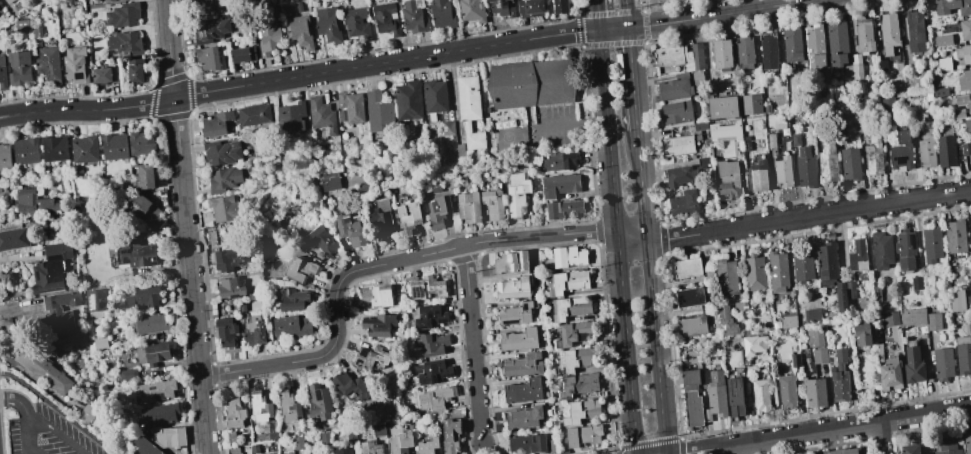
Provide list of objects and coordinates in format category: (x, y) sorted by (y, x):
building: (108, 0)
building: (122, 0)
building: (486, 0)
building: (9, 1)
building: (210, 4)
rooftop solar panel: (511, 4)
building: (560, 6)
building: (952, 6)
building: (502, 7)
building: (530, 7)
rooftop solar panel: (497, 9)
building: (471, 10)
road: (626, 13)
building: (442, 14)
road: (597, 14)
building: (123, 15)
road: (718, 15)
building: (413, 16)
building: (386, 18)
building: (356, 23)
building: (328, 25)
traffic signals: (627, 28)
road: (612, 29)
building: (965, 29)
building: (210, 30)
traffic signals: (598, 30)
building: (915, 31)
building: (299, 32)
building: (888, 33)
building: (863, 34)
building: (268, 37)
building: (943, 41)
building: (125, 43)
building: (837, 43)
building: (791, 45)
building: (814, 46)
building: (768, 52)
building: (743, 53)
building: (242, 54)
building: (721, 54)
building: (963, 54)
building: (680, 57)
building: (207, 58)
building: (943, 64)
building: (48, 65)
building: (75, 65)
building: (882, 66)
building: (856, 67)
building: (19, 68)
building: (135, 71)
building: (2, 73)
building: (104, 75)
road: (299, 75)
road: (631, 78)
building: (697, 78)
building: (965, 80)
building: (533, 85)
building: (674, 88)
building: (939, 92)
building: (434, 98)
building: (408, 100)
building: (964, 101)
building: (750, 104)
building: (887, 104)
building: (349, 107)
building: (722, 107)
building: (468, 110)
building: (379, 112)
building: (675, 113)
building: (253, 114)
building: (958, 114)
building: (321, 115)
building: (291, 117)
building: (215, 123)
building: (700, 126)
building: (967, 126)
parking lot: (553, 127)
road: (569, 127)
building: (448, 129)
building: (725, 131)
building: (770, 140)
building: (795, 140)
building: (141, 143)
building: (746, 143)
building: (677, 145)
building: (114, 146)
building: (54, 148)
building: (927, 148)
building: (945, 148)
building: (84, 149)
building: (966, 149)
building: (26, 151)
building: (901, 151)
building: (221, 152)
building: (872, 152)
building: (5, 156)
building: (559, 162)
building: (702, 162)
building: (827, 162)
building: (850, 164)
building: (805, 168)
building: (782, 171)
building: (679, 175)
building: (758, 175)
building: (146, 177)
building: (728, 178)
building: (225, 179)
building: (330, 184)
building: (559, 185)
road: (181, 188)
building: (516, 194)
building: (34, 201)
building: (683, 202)
building: (492, 204)
building: (467, 207)
building: (223, 209)
building: (563, 209)
building: (144, 211)
building: (438, 212)
road: (808, 217)
building: (408, 218)
building: (380, 219)
building: (970, 221)
building: (350, 231)
road: (632, 236)
building: (955, 236)
building: (14, 238)
building: (970, 240)
building: (320, 241)
road: (618, 241)
building: (931, 244)
building: (881, 250)
building: (905, 250)
building: (59, 251)
building: (139, 255)
building: (857, 256)
rooftop solar panel: (52, 257)
building: (568, 257)
building: (227, 259)
building: (511, 262)
building: (826, 264)
road: (374, 265)
building: (801, 265)
building: (686, 267)
building: (300, 270)
building: (754, 272)
building: (777, 272)
building: (47, 276)
building: (726, 277)
building: (568, 282)
building: (916, 283)
building: (230, 287)
building: (426, 288)
building: (512, 288)
building: (850, 289)
rooftop solar panel: (418, 291)
road: (651, 291)
building: (375, 295)
building: (143, 296)
building: (841, 296)
building: (689, 297)
building: (292, 299)
building: (61, 300)
building: (94, 300)
rooftop solar panel: (689, 300)
building: (956, 300)
building: (570, 307)
building: (740, 307)
building: (516, 314)
building: (812, 315)
building: (429, 317)
building: (912, 317)
building: (890, 319)
building: (5, 321)
building: (726, 321)
building: (788, 321)
building: (933, 322)
building: (148, 323)
building: (59, 324)
building: (378, 325)
building: (692, 326)
building: (291, 327)
building: (967, 328)
building: (226, 331)
building: (254, 332)
building: (574, 334)
building: (862, 334)
building: (815, 338)
building: (519, 340)
building: (98, 344)
building: (430, 344)
road: (472, 344)
building: (753, 344)
building: (879, 352)
building: (152, 354)
building: (963, 355)
building: (819, 356)
building: (372, 357)
building: (578, 359)
building: (794, 360)
building: (942, 364)
building: (523, 365)
building: (913, 366)
building: (41, 368)
building: (432, 371)
building: (127, 375)
building: (890, 375)
building: (840, 378)
building: (690, 379)
building: (577, 384)
rooftop solar panel: (734, 384)
building: (349, 385)
rooftop solar panel: (739, 386)
building: (154, 391)
building: (523, 391)
rooftop solar panel: (730, 391)
building: (787, 391)
building: (814, 391)
rooftop solar panel: (141, 394)
building: (714, 394)
rooftop solar panel: (157, 396)
rooftop solar panel: (318, 396)
building: (760, 396)
building: (434, 398)
building: (734, 398)
road: (17, 401)
building: (318, 403)
building: (288, 406)
building: (259, 407)
building: (693, 408)
road: (59, 410)
building: (582, 411)
building: (87, 414)
building: (157, 414)
building: (235, 414)
road: (201, 416)
building: (525, 417)
road: (40, 420)
building: (378, 430)
road: (826, 430)
parking lot: (48, 434)
building: (582, 435)
building: (168, 436)
building: (451, 436)
road: (883, 438)
building: (325, 439)
traffic signals: (636, 440)
building: (298, 442)
building: (400, 442)
building: (967, 442)
building: (527, 443)
building: (427, 446)
building: (552, 446)
building: (946, 446)
building: (144, 447)
building: (254, 448)
building: (370, 448)
building: (245, 449)
road: (483, 449)
building: (909, 449)
building: (233, 451)
building: (342, 451)
park: (489, 451)
building: (840, 451)
traffic signals: (686, 453)

